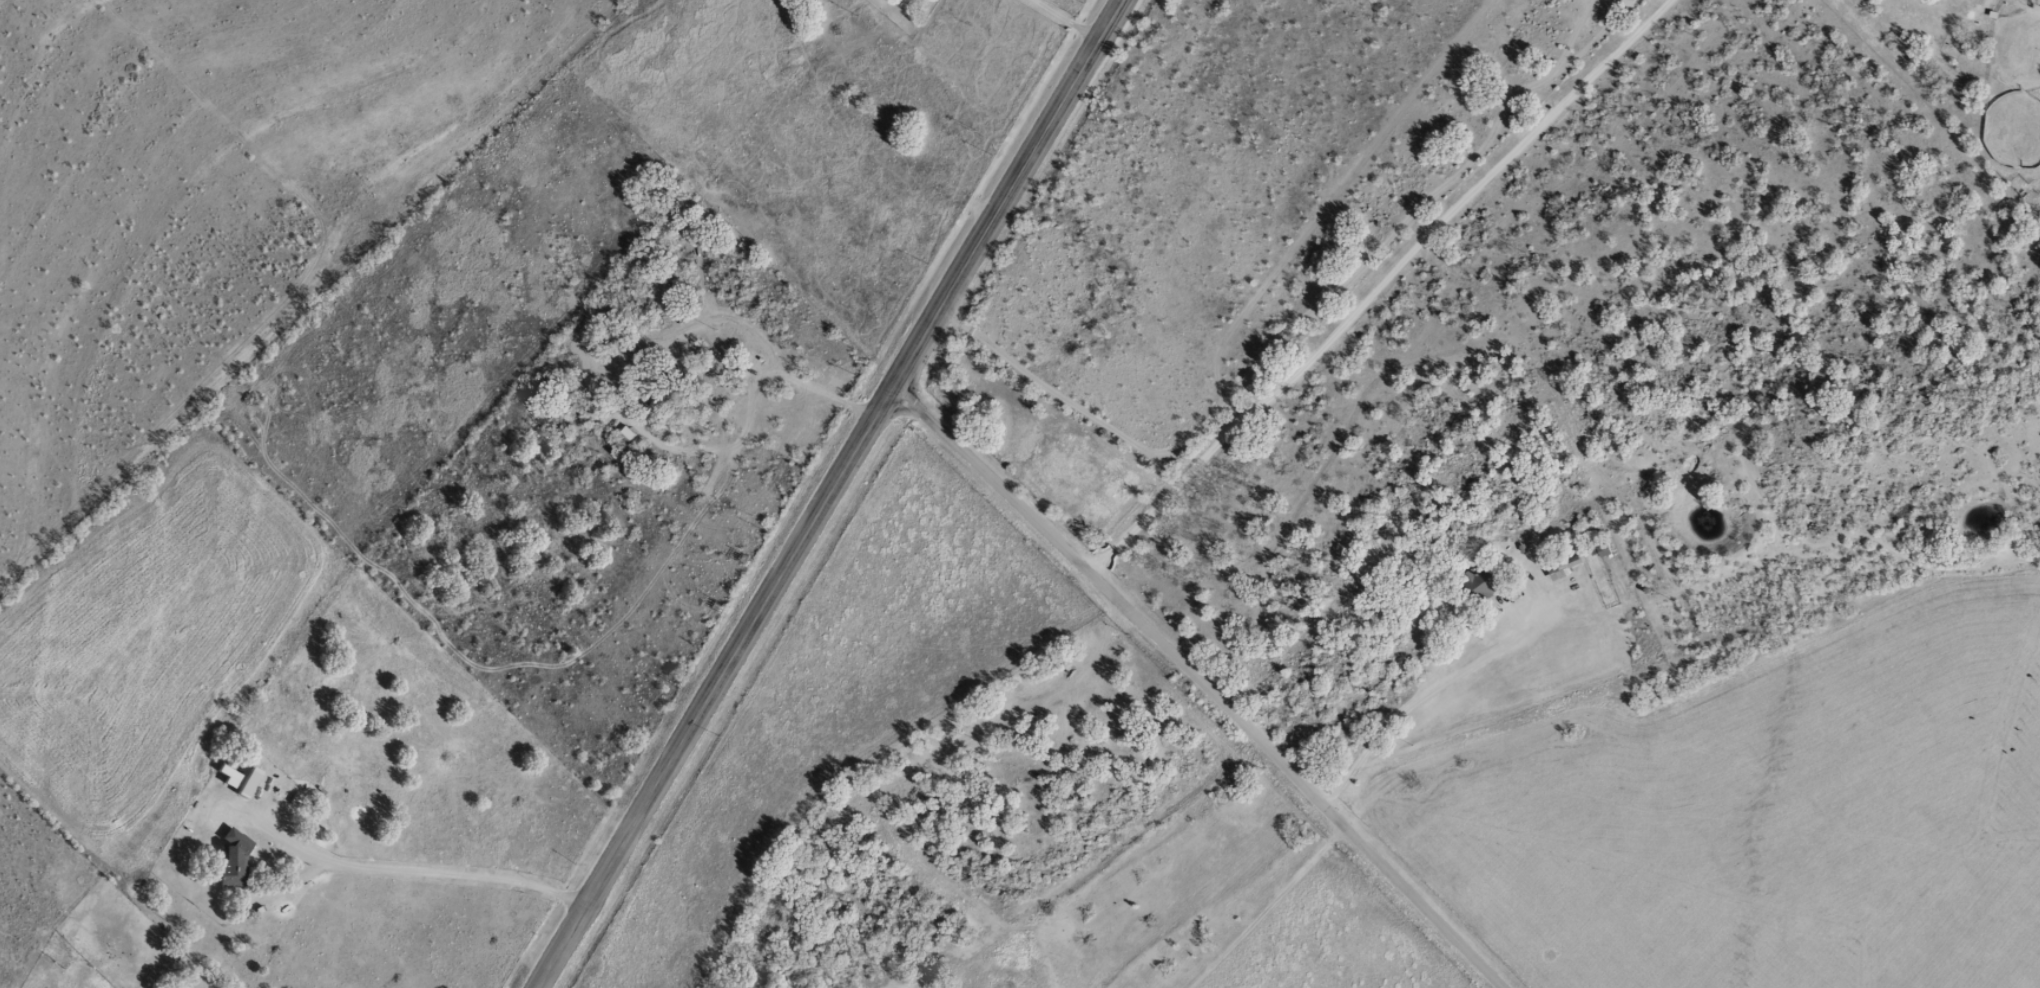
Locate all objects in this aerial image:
building: (720, 358)
building: (613, 360)
building: (655, 404)
road: (1553, 472)
road: (827, 495)
road: (1290, 525)
building: (1598, 550)
building: (1558, 567)
building: (1477, 585)
road: (1170, 697)
building: (237, 779)
building: (234, 859)
building: (735, 986)

